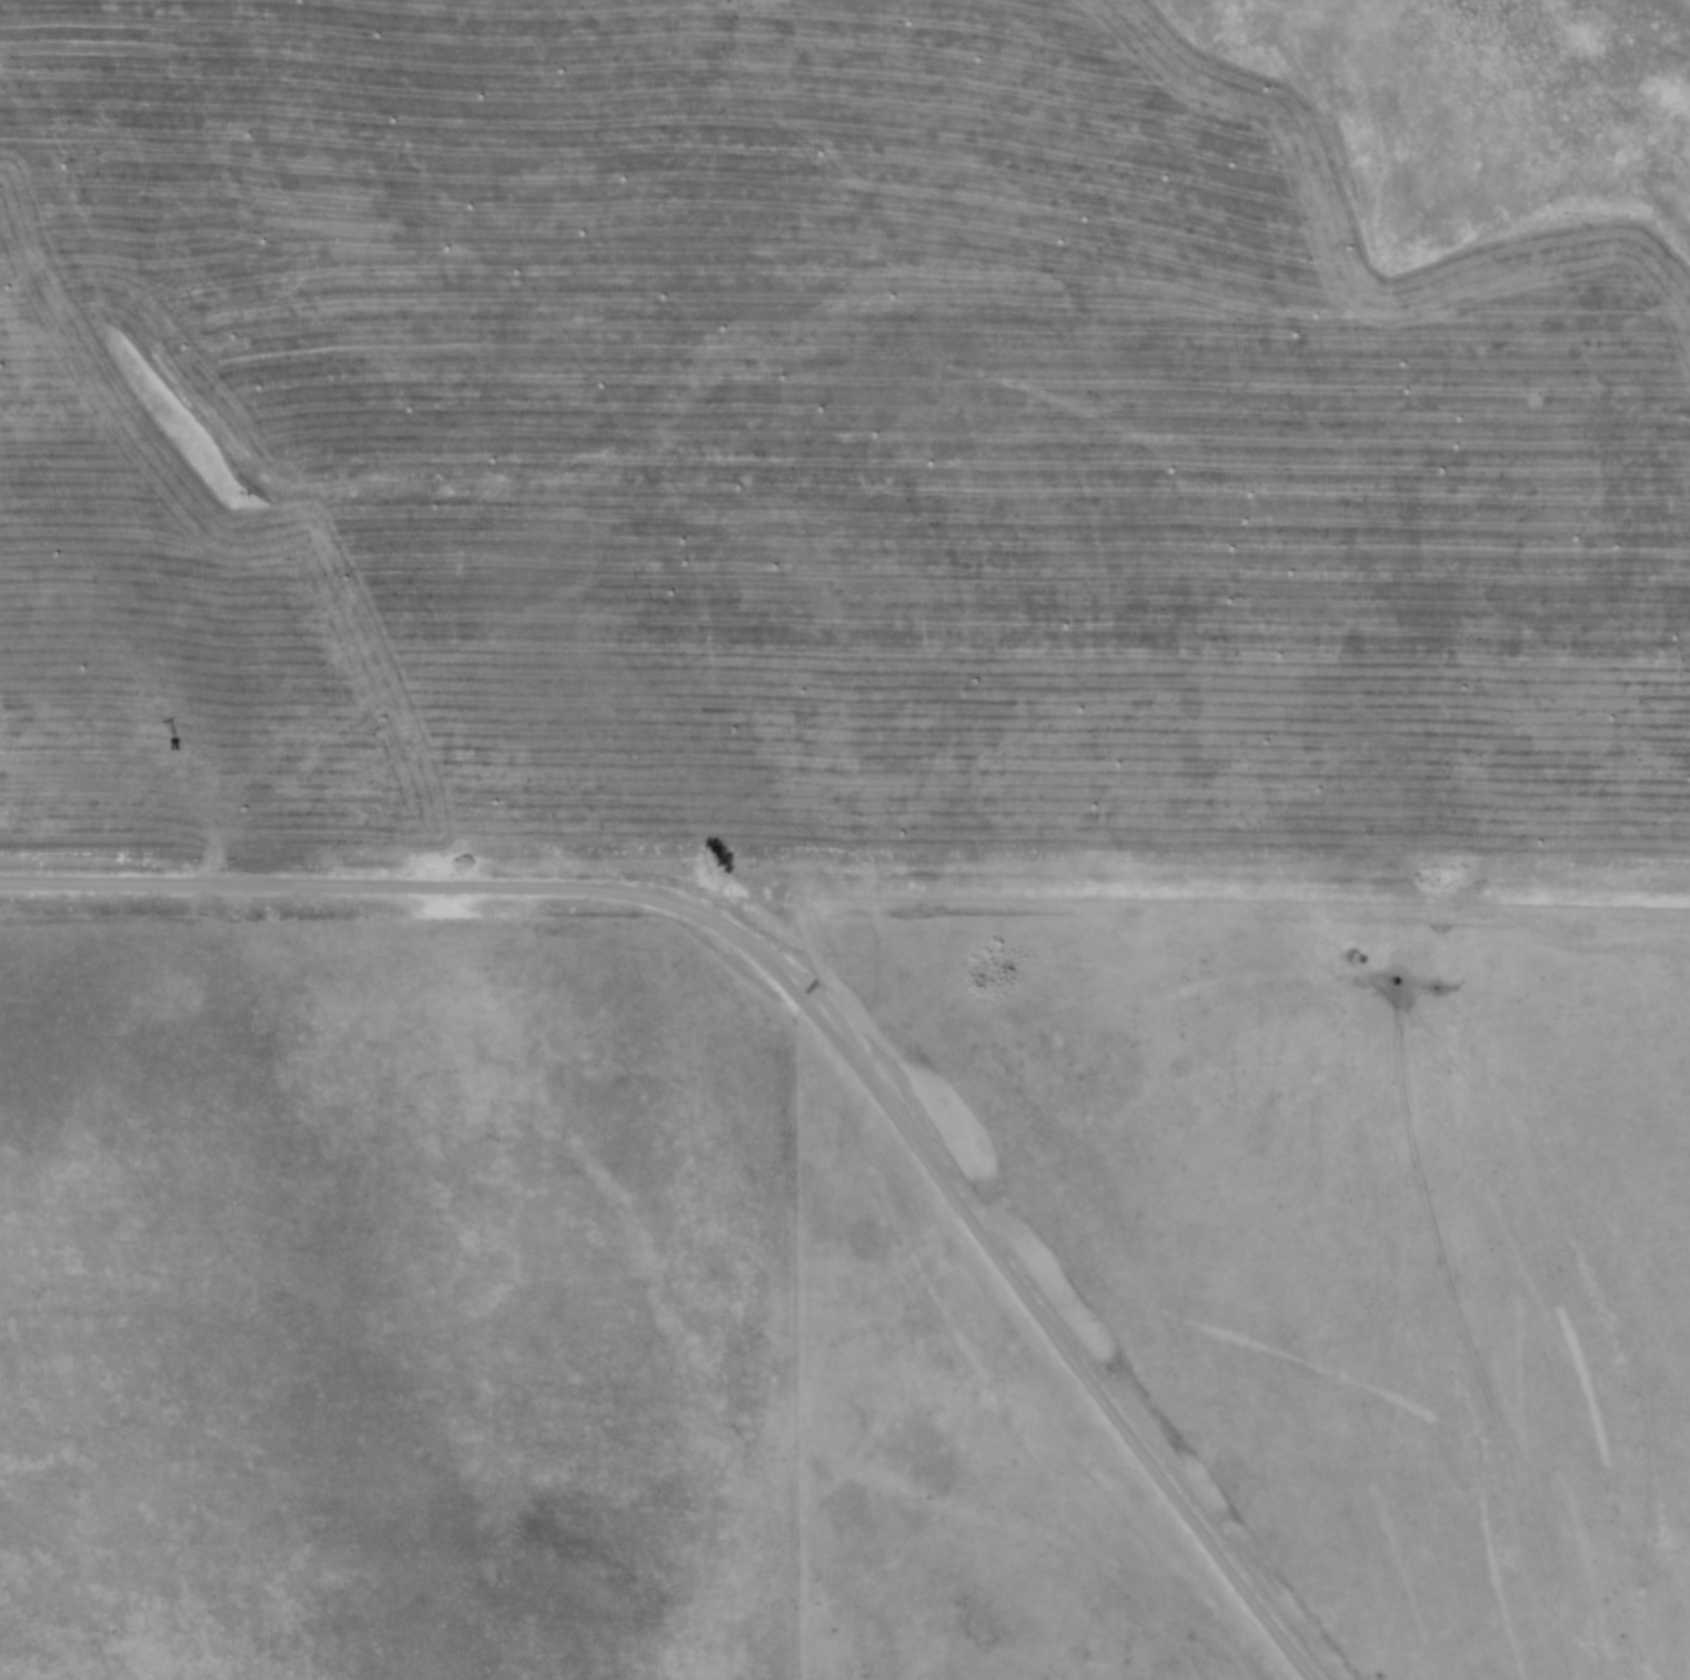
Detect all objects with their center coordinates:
road: (816, 994)
road: (829, 1032)

